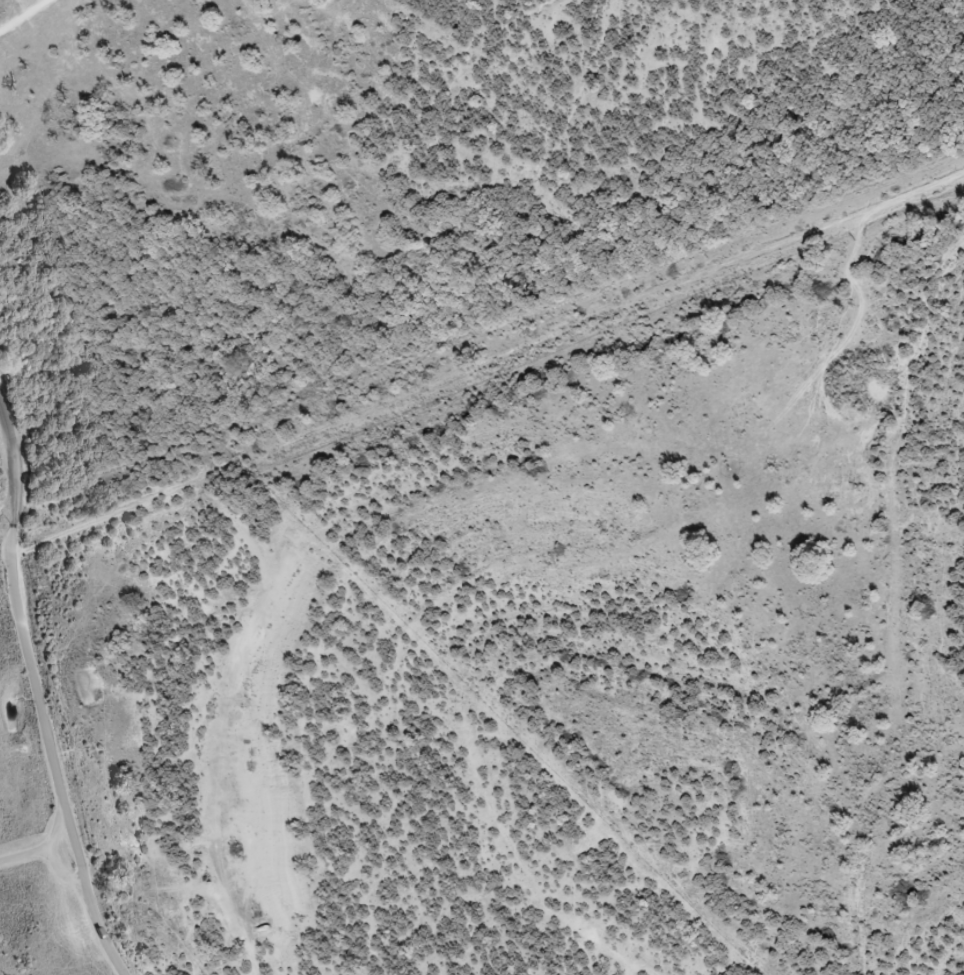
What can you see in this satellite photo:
road: (28, 18)
road: (486, 358)
road: (16, 480)
road: (56, 766)
road: (51, 854)
road: (24, 855)

